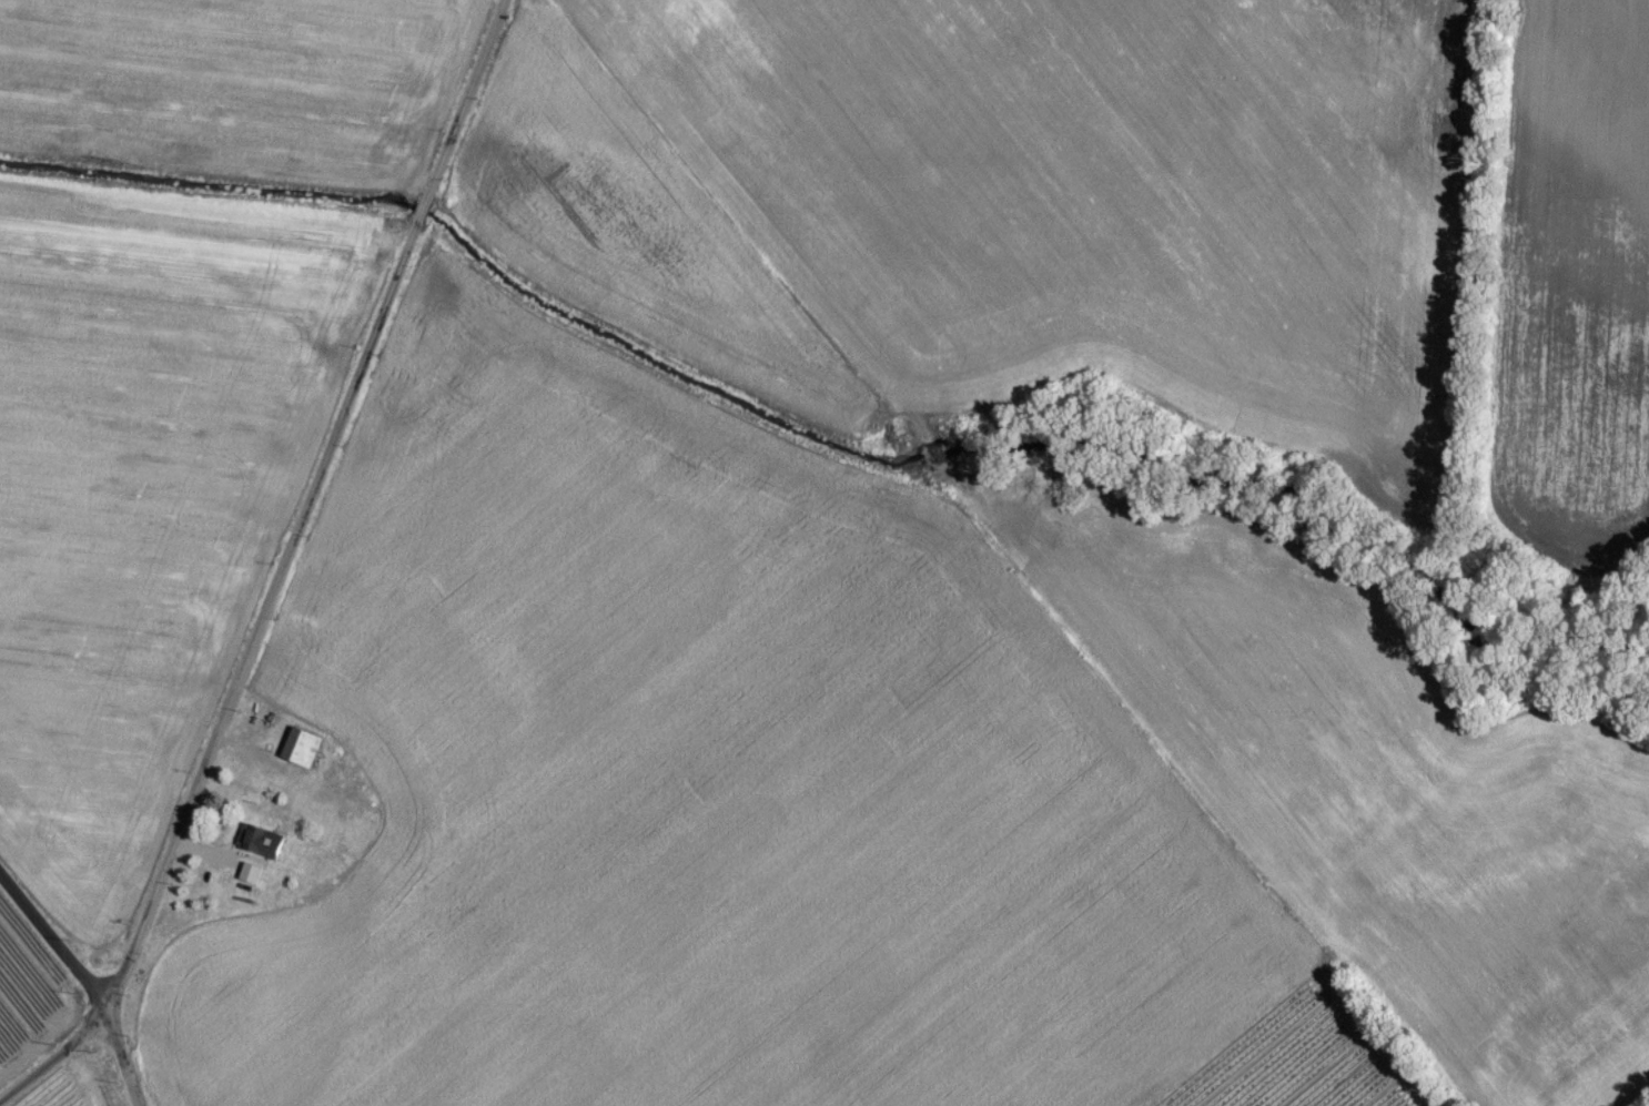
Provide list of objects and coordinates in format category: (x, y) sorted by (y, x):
road: (269, 569)
building: (303, 757)
building: (263, 849)
building: (253, 882)
road: (54, 935)
road: (123, 1057)

